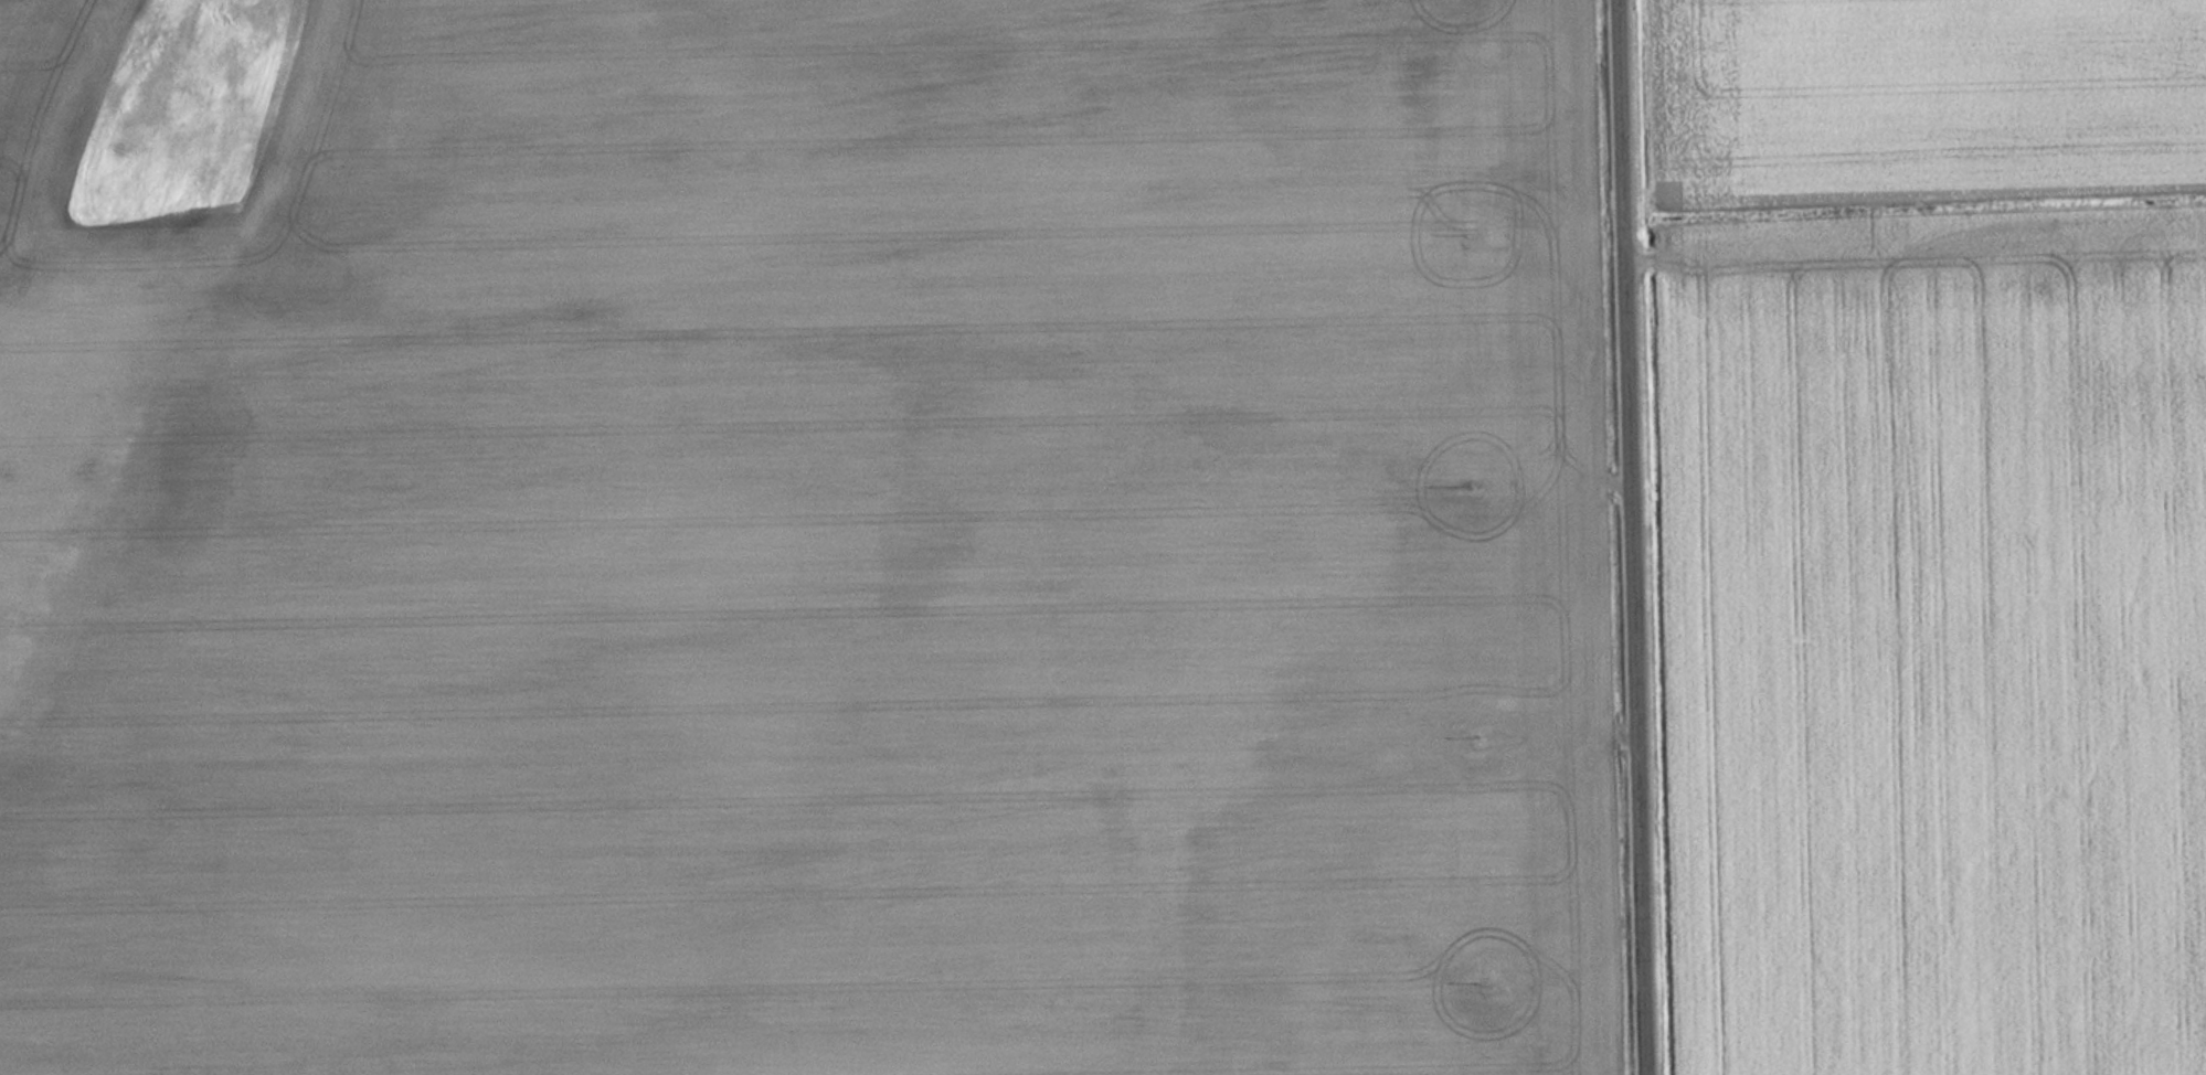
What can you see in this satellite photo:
building: (1348, 3)
road: (1638, 537)

